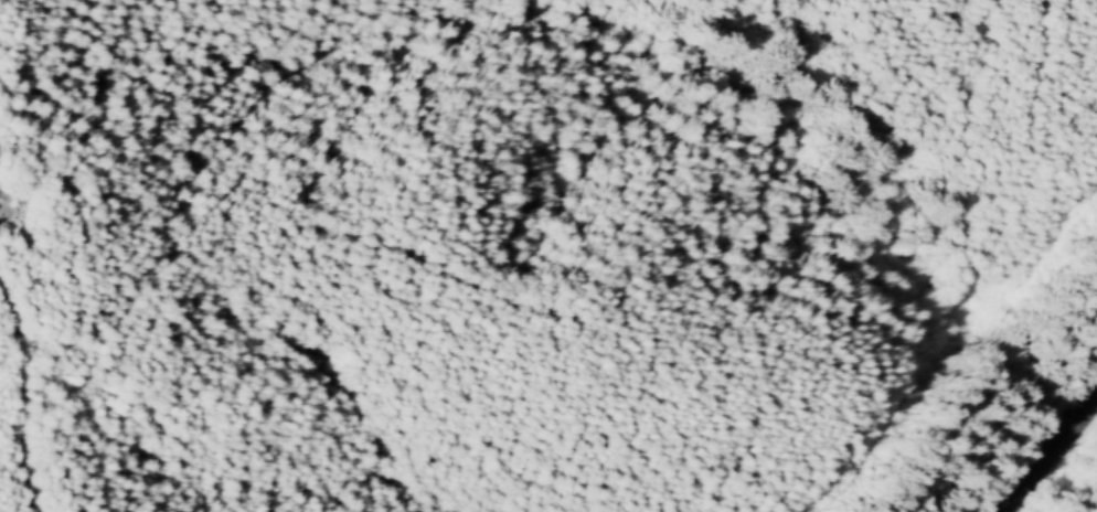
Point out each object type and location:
road: (1046, 447)

